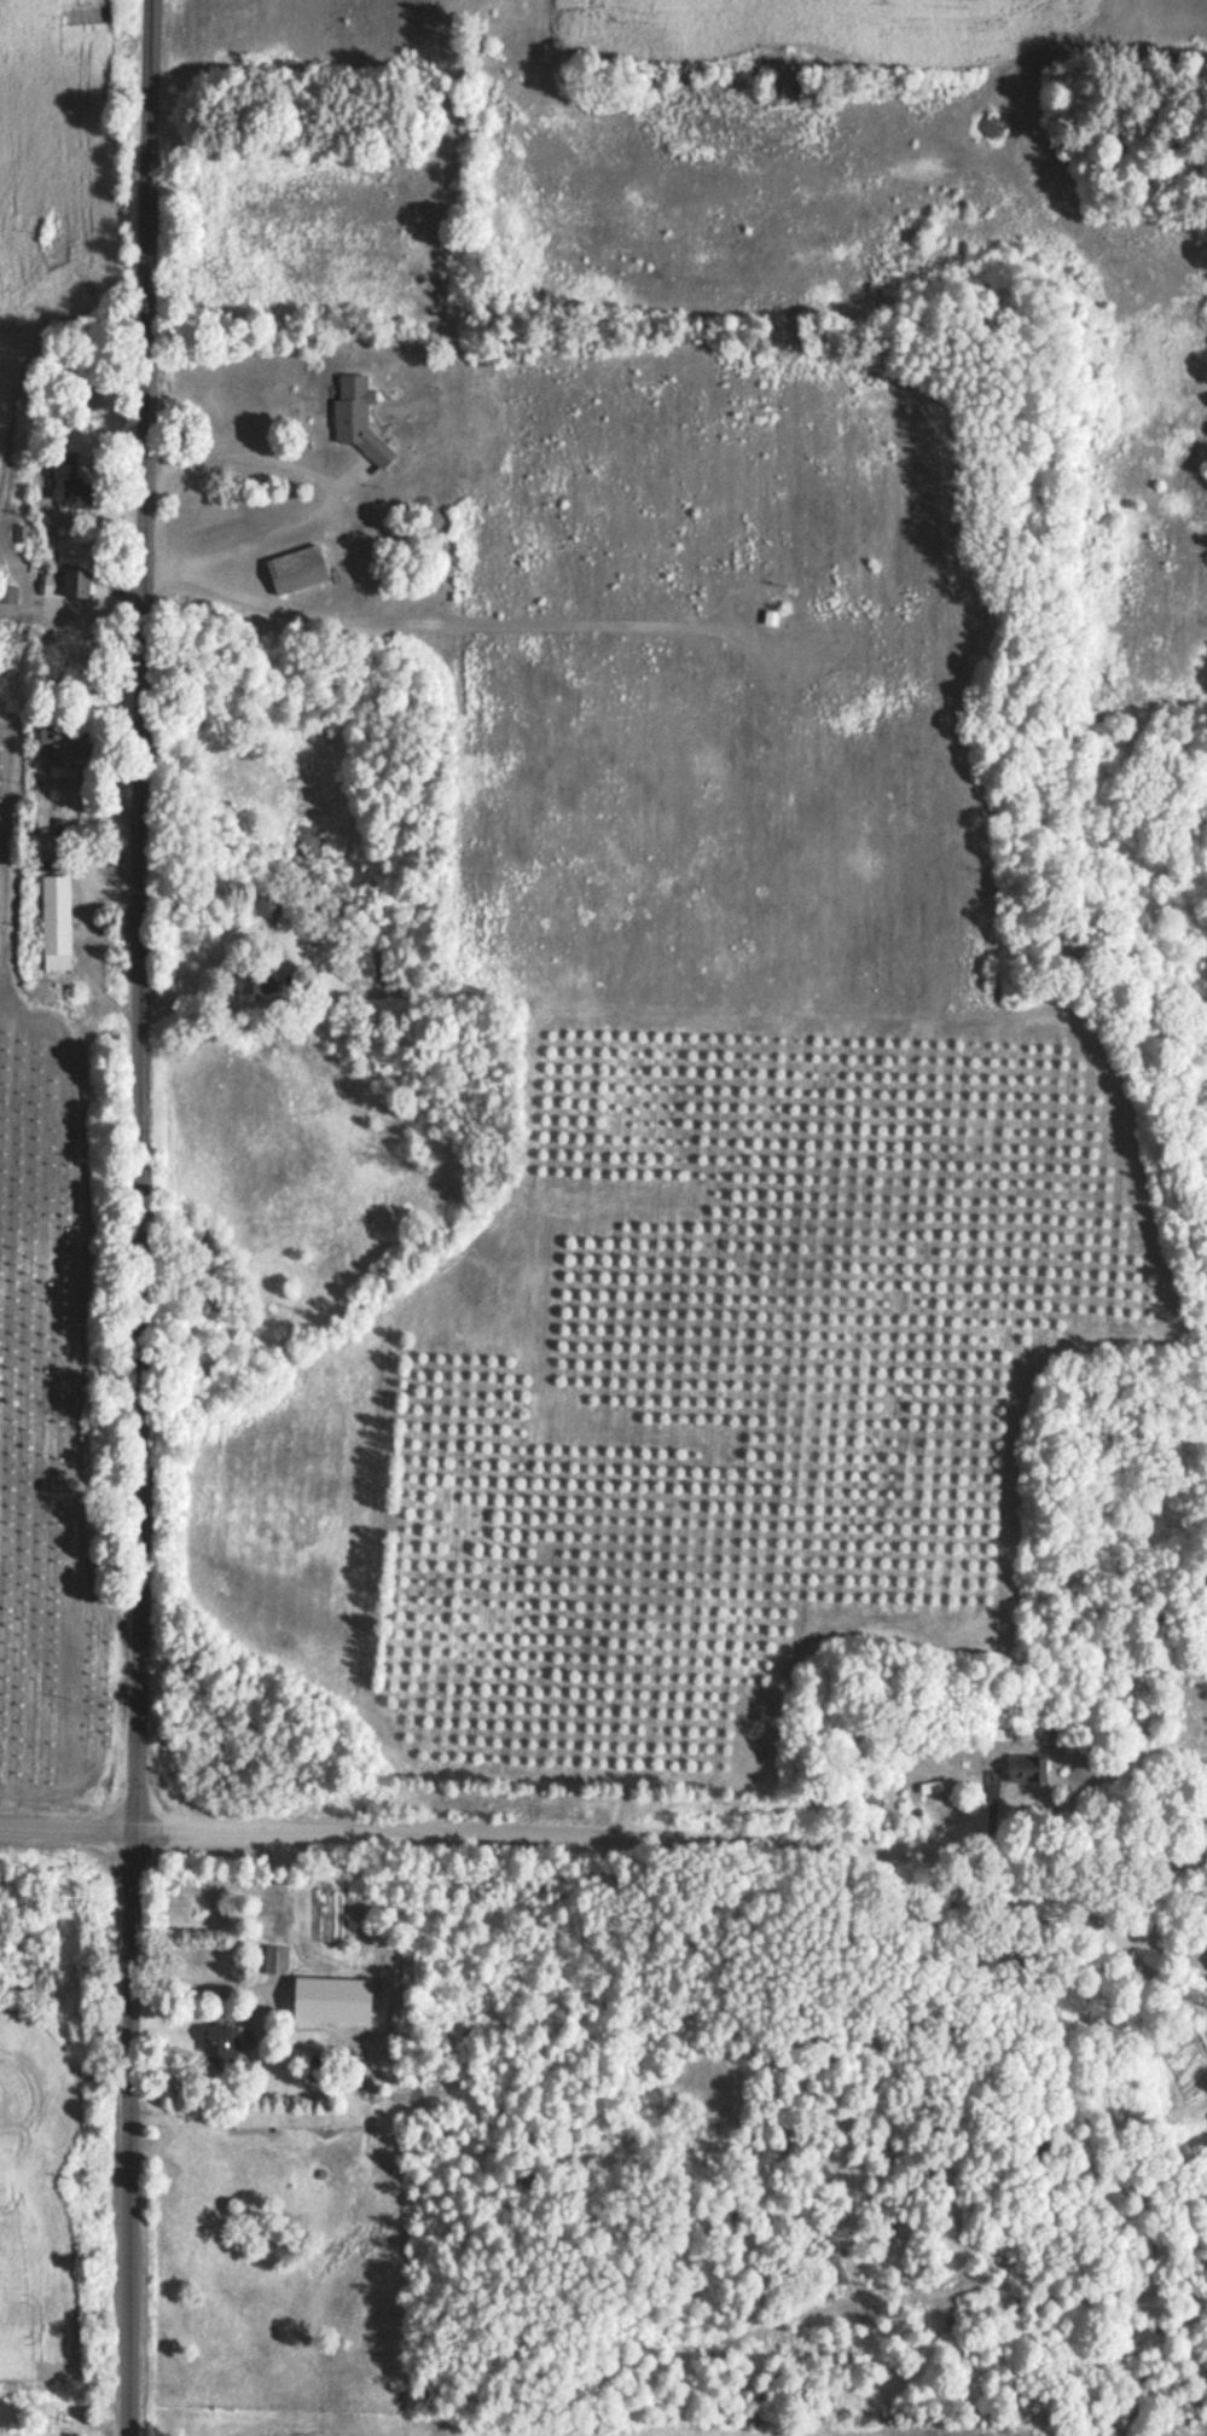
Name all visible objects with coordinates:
building: (355, 419)
building: (74, 499)
building: (295, 570)
building: (77, 585)
building: (50, 587)
building: (8, 597)
building: (768, 619)
building: (53, 924)
building: (239, 984)
road: (147, 1218)
building: (1025, 1769)
road: (603, 1823)
building: (274, 1961)
building: (219, 2044)

